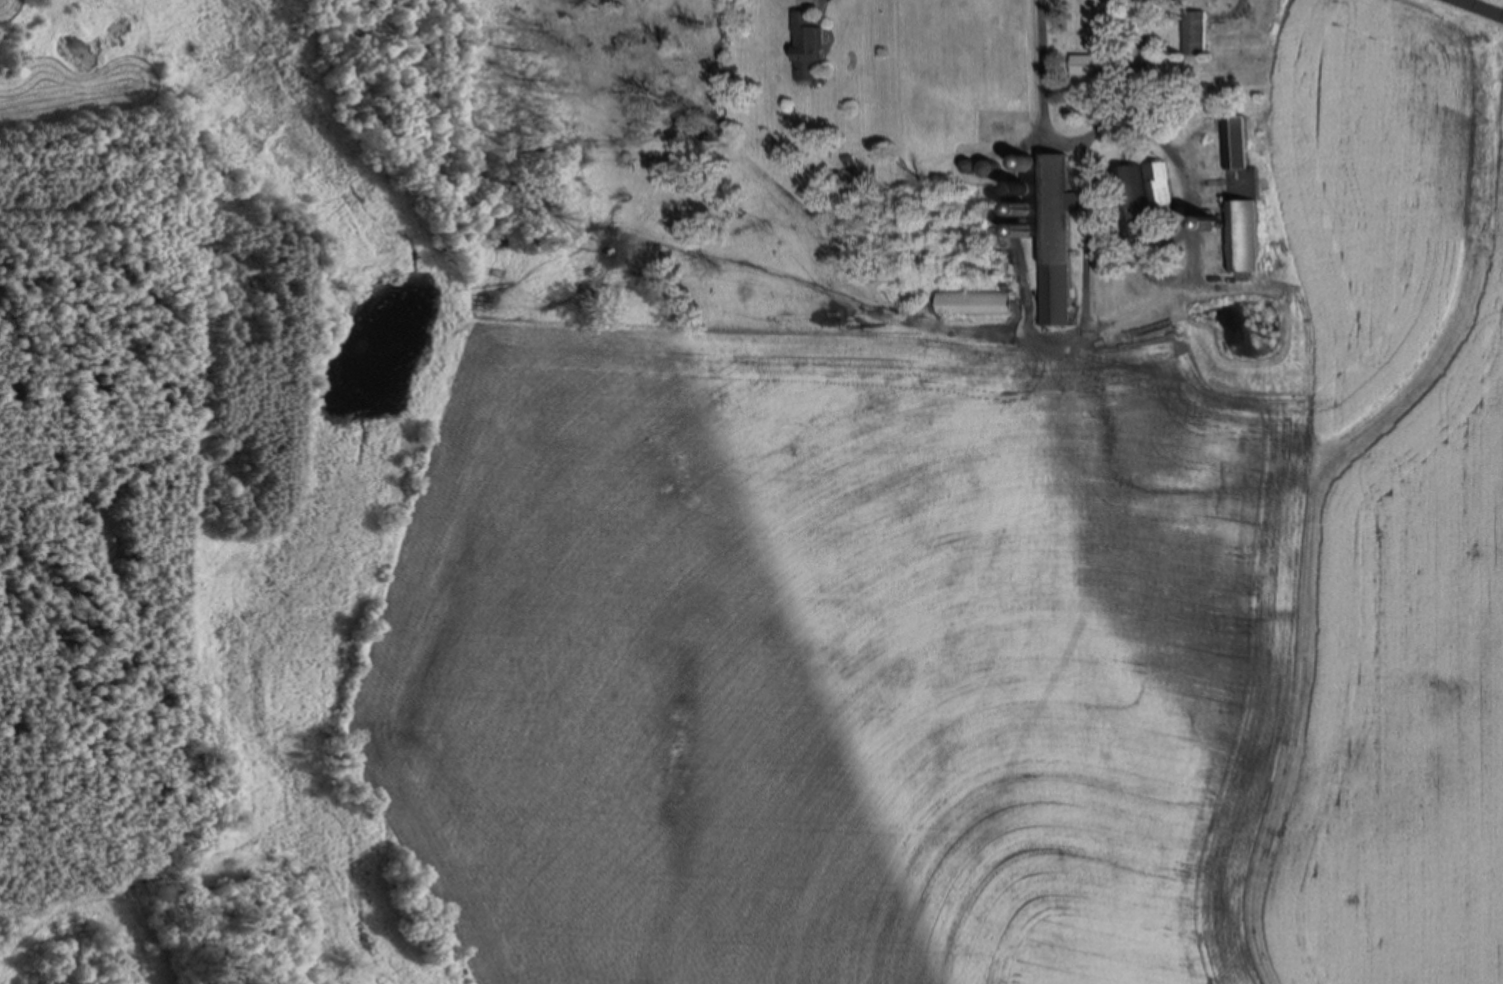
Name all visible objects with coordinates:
road: (1471, 11)
building: (1196, 31)
building: (807, 38)
building: (1083, 64)
road: (1072, 134)
building: (1238, 153)
building: (1146, 197)
building: (1051, 232)
building: (1244, 236)
building: (975, 302)

